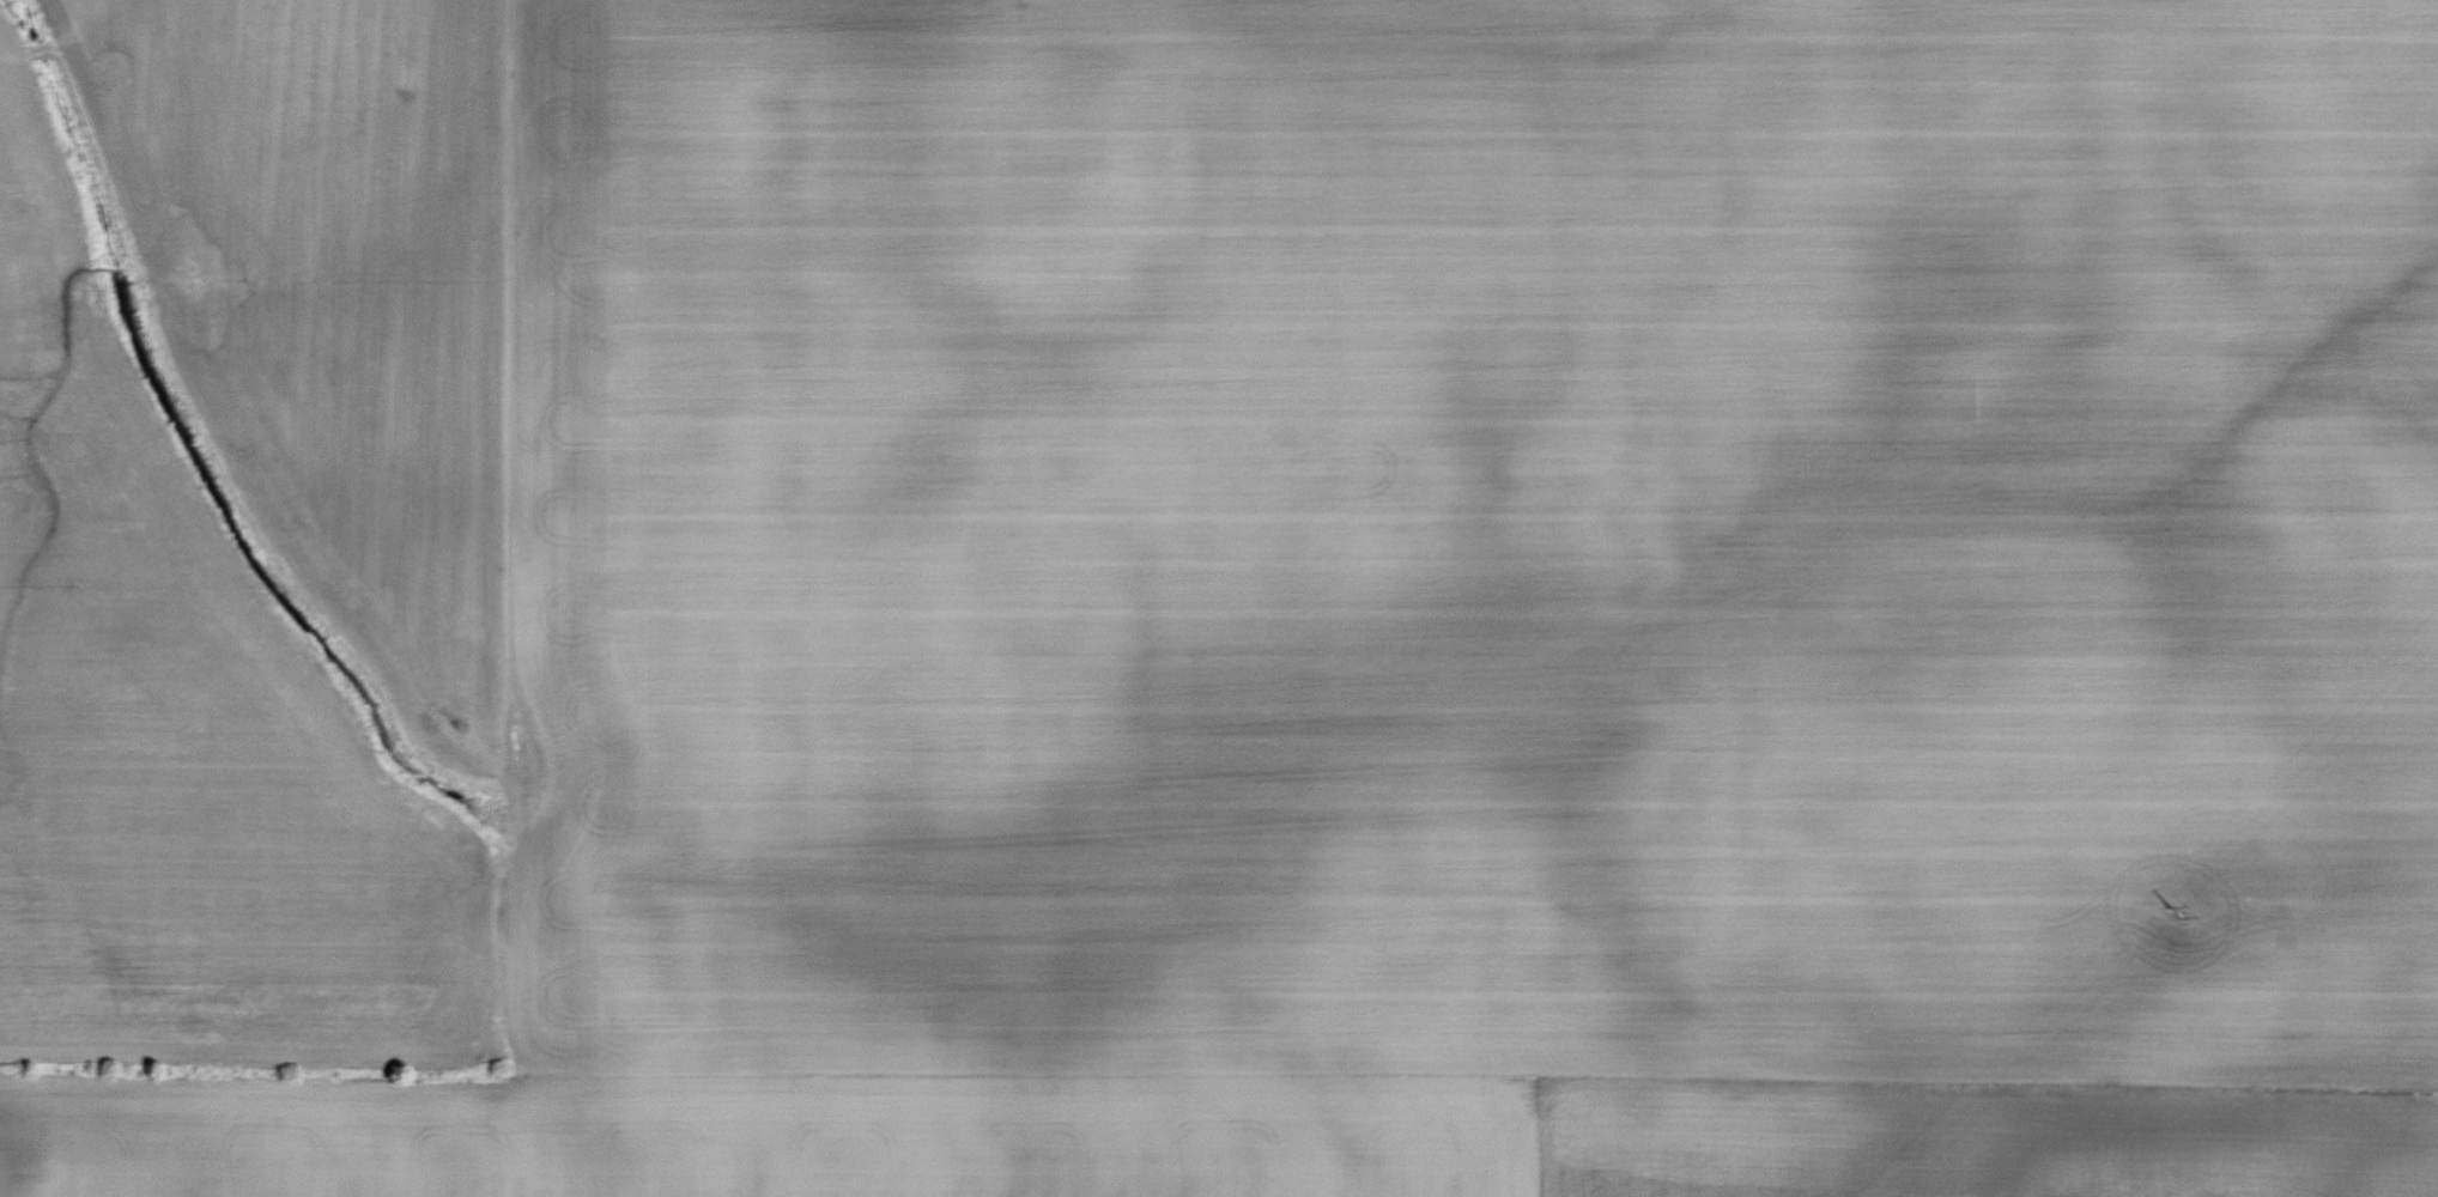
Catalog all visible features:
power tower: (2171, 910)

